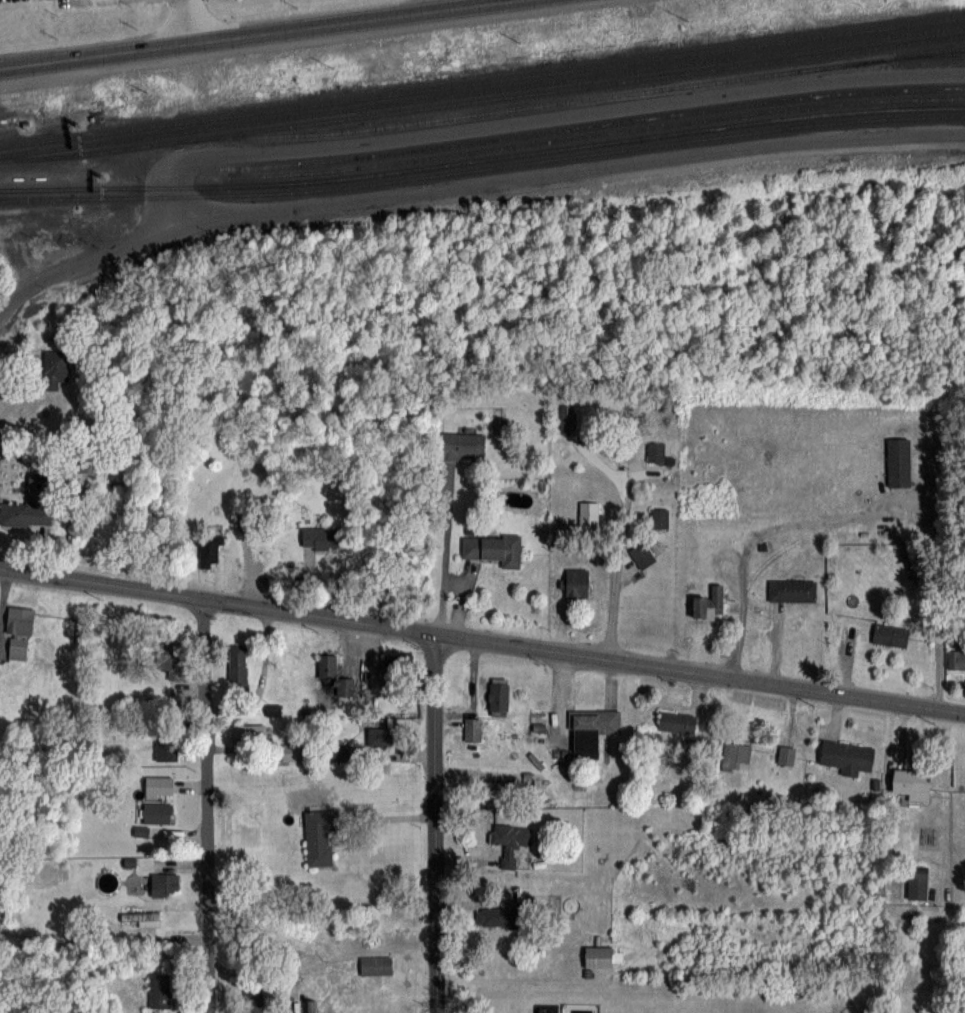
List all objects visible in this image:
road: (192, 19)
road: (240, 31)
railway: (933, 55)
railway: (482, 82)
railway: (482, 90)
railway: (482, 100)
railway: (570, 100)
road: (547, 118)
railway: (589, 125)
railway: (589, 134)
railway: (483, 158)
railway: (483, 168)
road: (470, 183)
railway: (33, 197)
building: (55, 369)
building: (577, 418)
building: (462, 445)
building: (656, 452)
building: (898, 462)
building: (588, 513)
building: (25, 515)
building: (659, 518)
road: (755, 535)
building: (323, 539)
building: (493, 549)
road: (445, 550)
building: (206, 552)
building: (642, 554)
road: (618, 570)
building: (576, 583)
building: (792, 589)
road: (464, 602)
building: (708, 603)
building: (19, 632)
building: (890, 635)
road: (482, 640)
building: (956, 658)
building: (171, 659)
building: (238, 666)
building: (330, 671)
building: (394, 672)
building: (273, 709)
building: (676, 722)
building: (591, 730)
building: (249, 735)
building: (167, 748)
building: (290, 752)
building: (786, 754)
building: (735, 755)
building: (846, 756)
building: (911, 783)
road: (205, 807)
road: (390, 817)
road: (434, 823)
building: (318, 838)
building: (509, 841)
building: (917, 882)
building: (164, 884)
building: (139, 917)
building: (497, 917)
building: (603, 956)
building: (372, 965)
building: (159, 989)
building: (255, 1001)

